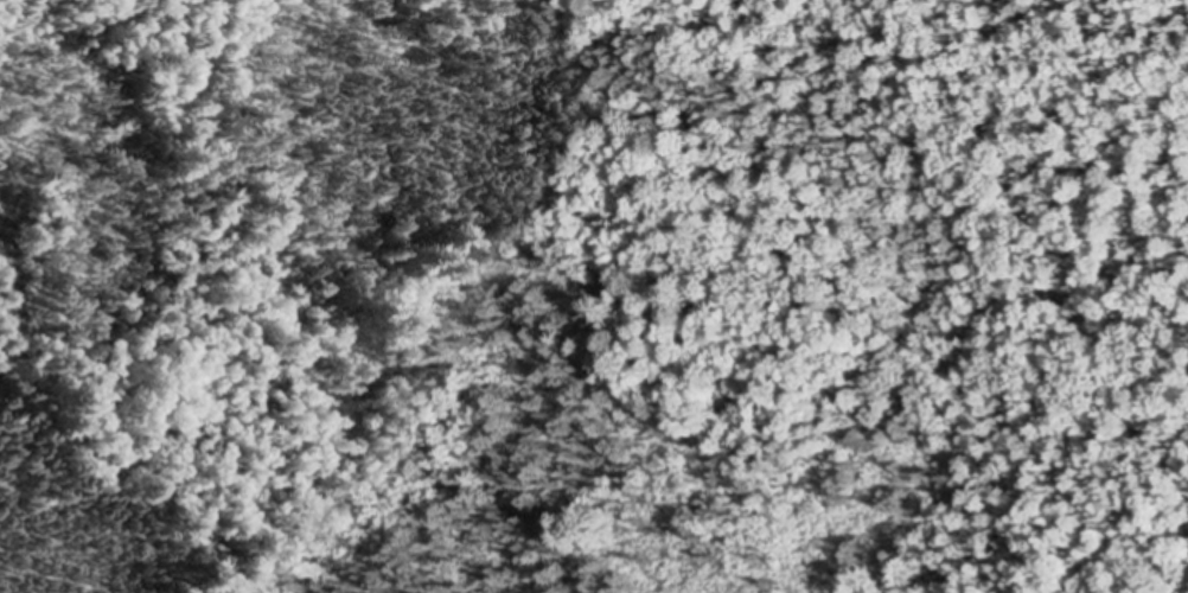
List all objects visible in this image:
road: (178, 1)
road: (185, 90)

